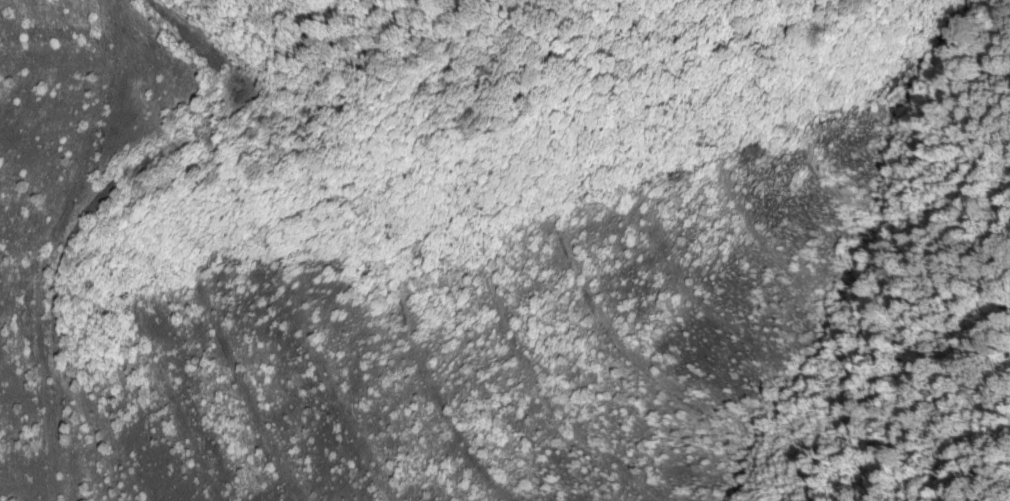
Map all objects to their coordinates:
quarry: (412, 302)

